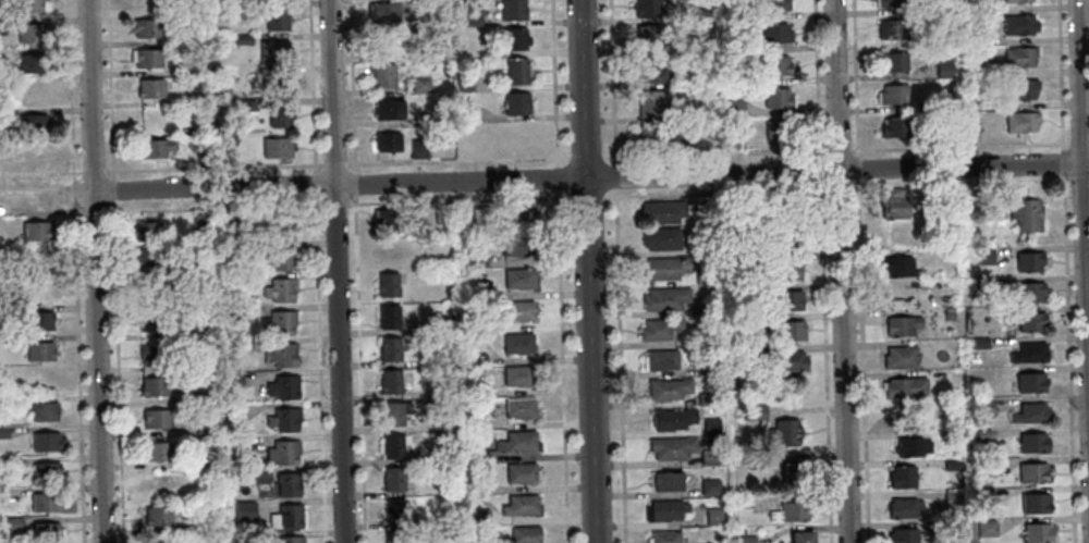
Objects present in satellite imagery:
building: (1016, 1)
building: (149, 3)
building: (889, 3)
building: (773, 4)
building: (29, 5)
building: (966, 7)
building: (647, 9)
building: (512, 10)
building: (384, 13)
building: (698, 14)
building: (739, 14)
building: (470, 16)
building: (276, 18)
building: (420, 21)
building: (1018, 25)
building: (1, 26)
building: (148, 27)
building: (892, 30)
building: (29, 33)
building: (772, 34)
building: (647, 36)
building: (974, 37)
building: (242, 39)
building: (513, 39)
building: (699, 41)
building: (390, 46)
building: (731, 46)
building: (272, 50)
building: (1018, 58)
building: (147, 59)
building: (29, 62)
building: (892, 62)
building: (775, 66)
building: (943, 70)
building: (988, 70)
building: (650, 71)
building: (516, 72)
road: (1061, 73)
building: (382, 76)
building: (733, 78)
building: (276, 81)
building: (463, 83)
building: (419, 85)
road: (351, 86)
road: (311, 87)
building: (149, 88)
building: (1021, 89)
road: (70, 90)
road: (109, 90)
building: (892, 96)
building: (196, 98)
building: (778, 98)
building: (652, 103)
building: (516, 104)
building: (932, 104)
building: (245, 106)
building: (733, 109)
building: (388, 110)
building: (465, 113)
building: (279, 116)
building: (946, 121)
building: (1020, 122)
building: (32, 123)
building: (969, 124)
building: (893, 127)
building: (778, 132)
building: (649, 137)
building: (729, 139)
building: (388, 141)
road: (1078, 141)
building: (155, 148)
building: (276, 148)
building: (417, 149)
road: (707, 156)
building: (200, 157)
road: (1063, 162)
road: (334, 166)
road: (213, 170)
road: (93, 174)
road: (40, 175)
road: (580, 178)
road: (1066, 182)
road: (1078, 184)
road: (354, 185)
road: (315, 186)
road: (73, 194)
road: (112, 194)
road: (602, 199)
building: (941, 202)
building: (894, 205)
building: (705, 206)
building: (994, 206)
road: (334, 207)
building: (755, 207)
road: (213, 209)
road: (93, 211)
building: (661, 211)
road: (39, 212)
building: (464, 213)
building: (441, 214)
building: (1026, 215)
building: (517, 218)
building: (384, 220)
building: (200, 222)
building: (225, 222)
building: (782, 224)
building: (280, 227)
building: (35, 231)
building: (146, 231)
road: (1082, 236)
building: (660, 239)
building: (517, 246)
building: (703, 246)
building: (389, 251)
building: (984, 256)
building: (147, 257)
building: (280, 259)
building: (38, 261)
building: (478, 261)
building: (1028, 261)
building: (898, 268)
building: (186, 269)
building: (665, 269)
building: (786, 270)
road: (93, 271)
road: (335, 271)
road: (559, 271)
road: (588, 271)
road: (617, 271)
road: (822, 271)
road: (840, 271)
road: (859, 271)
building: (518, 279)
building: (702, 279)
building: (241, 282)
building: (981, 283)
building: (388, 285)
building: (152, 288)
building: (44, 291)
building: (280, 291)
building: (1029, 292)
building: (469, 294)
building: (664, 299)
building: (787, 300)
building: (703, 309)
building: (518, 311)
building: (2, 313)
building: (238, 313)
building: (949, 316)
building: (388, 317)
building: (38, 320)
building: (150, 321)
building: (1030, 322)
building: (278, 323)
building: (443, 323)
building: (473, 326)
building: (901, 326)
building: (659, 329)
building: (788, 331)
building: (197, 334)
building: (703, 337)
building: (979, 343)
building: (517, 344)
building: (243, 345)
building: (389, 348)
building: (737, 350)
building: (38, 351)
building: (152, 354)
building: (1029, 354)
building: (281, 356)
building: (900, 358)
building: (477, 359)
road: (1067, 359)
building: (787, 360)
building: (660, 361)
building: (726, 365)
building: (197, 366)
building: (705, 366)
road: (319, 370)
road: (359, 370)
road: (77, 373)
road: (117, 374)
building: (517, 375)
building: (44, 380)
building: (233, 380)
building: (390, 382)
building: (1029, 383)
building: (155, 386)
building: (282, 387)
building: (905, 388)
building: (668, 390)
building: (474, 392)
building: (200, 397)
building: (706, 399)
building: (2, 403)
building: (982, 407)
building: (519, 408)
building: (42, 411)
building: (233, 412)
building: (754, 412)
building: (392, 414)
building: (1029, 414)
building: (155, 419)
building: (283, 420)
building: (672, 420)
building: (448, 422)
building: (474, 424)
building: (710, 427)
building: (3, 433)
building: (785, 434)
building: (981, 435)
building: (909, 440)
building: (47, 442)
building: (518, 442)
building: (1031, 443)
building: (238, 444)
building: (393, 446)
building: (671, 448)
building: (159, 451)
building: (444, 452)
building: (283, 453)
building: (485, 456)
building: (709, 457)
building: (11, 461)
building: (199, 462)
building: (951, 464)
building: (984, 467)
building: (45, 471)
building: (1032, 472)
building: (522, 473)
building: (793, 474)
building: (260, 476)
building: (395, 478)
building: (902, 478)
building: (666, 482)
building: (159, 483)
building: (286, 484)
building: (478, 486)
building: (709, 488)
building: (983, 493)
building: (460, 498)
building: (952, 499)
building: (720, 501)
building: (44, 502)
building: (742, 502)
building: (1033, 504)
building: (521, 505)
building: (903, 508)
building: (243, 510)
building: (666, 510)
building: (393, 511)
building: (790, 511)
building: (712, 516)
building: (158, 517)
building: (286, 517)
building: (479, 517)
building: (13, 523)
building: (196, 526)
building: (938, 526)
building: (225, 527)
building: (986, 528)
building: (731, 529)
building: (45, 531)
building: (1038, 533)
building: (525, 534)
building: (902, 535)
building: (394, 536)
building: (663, 538)
building: (800, 538)
building: (291, 540)
building: (745, 540)
building: (158, 541)

